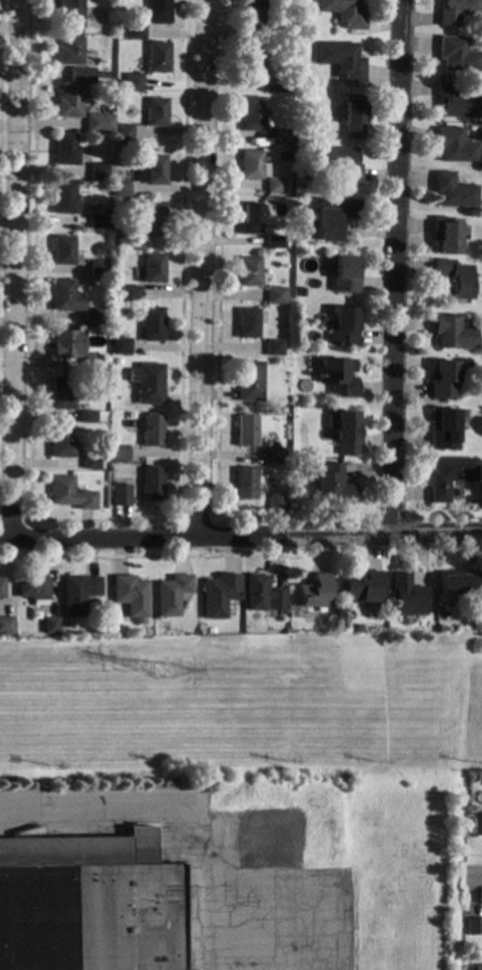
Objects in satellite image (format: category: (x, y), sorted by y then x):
building: (455, 10)
building: (157, 11)
building: (299, 11)
building: (69, 12)
building: (343, 12)
building: (251, 17)
building: (134, 30)
road: (0, 45)
building: (69, 50)
building: (456, 54)
building: (156, 56)
building: (251, 58)
building: (340, 59)
building: (77, 72)
building: (102, 75)
building: (131, 82)
building: (277, 83)
building: (289, 83)
building: (68, 101)
building: (454, 101)
building: (155, 111)
building: (252, 114)
building: (352, 116)
building: (97, 122)
building: (122, 133)
building: (278, 137)
building: (290, 141)
building: (454, 145)
building: (64, 149)
building: (339, 161)
building: (251, 165)
building: (152, 170)
building: (100, 172)
building: (274, 185)
building: (120, 188)
building: (452, 190)
building: (64, 198)
building: (333, 215)
building: (248, 218)
building: (150, 219)
building: (98, 221)
building: (446, 234)
building: (128, 241)
building: (273, 241)
building: (61, 250)
building: (97, 267)
road: (201, 267)
road: (397, 267)
building: (150, 268)
road: (15, 269)
building: (248, 271)
building: (344, 273)
building: (453, 276)
building: (301, 292)
building: (129, 293)
road: (218, 294)
building: (64, 295)
building: (274, 295)
building: (92, 316)
building: (320, 318)
building: (246, 322)
building: (151, 323)
building: (343, 326)
building: (453, 333)
building: (63, 343)
building: (119, 346)
building: (298, 346)
building: (272, 347)
building: (90, 359)
building: (337, 376)
building: (445, 378)
building: (247, 380)
building: (147, 382)
building: (60, 393)
building: (85, 416)
building: (445, 427)
building: (150, 430)
building: (244, 430)
building: (342, 430)
building: (61, 442)
building: (117, 453)
building: (274, 456)
building: (89, 462)
building: (448, 475)
building: (149, 482)
building: (243, 482)
building: (331, 485)
building: (68, 493)
building: (118, 495)
building: (274, 501)
road: (195, 518)
road: (101, 520)
road: (13, 521)
road: (240, 535)
road: (139, 556)
building: (457, 581)
building: (0, 587)
building: (32, 589)
building: (311, 590)
building: (360, 591)
building: (76, 592)
building: (168, 593)
building: (259, 593)
building: (216, 594)
building: (403, 594)
building: (126, 595)
building: (456, 604)
building: (48, 624)
building: (5, 625)
building: (207, 630)
power tower: (162, 672)
road: (241, 691)
road: (182, 802)
building: (475, 823)
road: (479, 873)
road: (310, 892)
building: (87, 902)
building: (473, 925)
road: (271, 938)
building: (477, 967)

